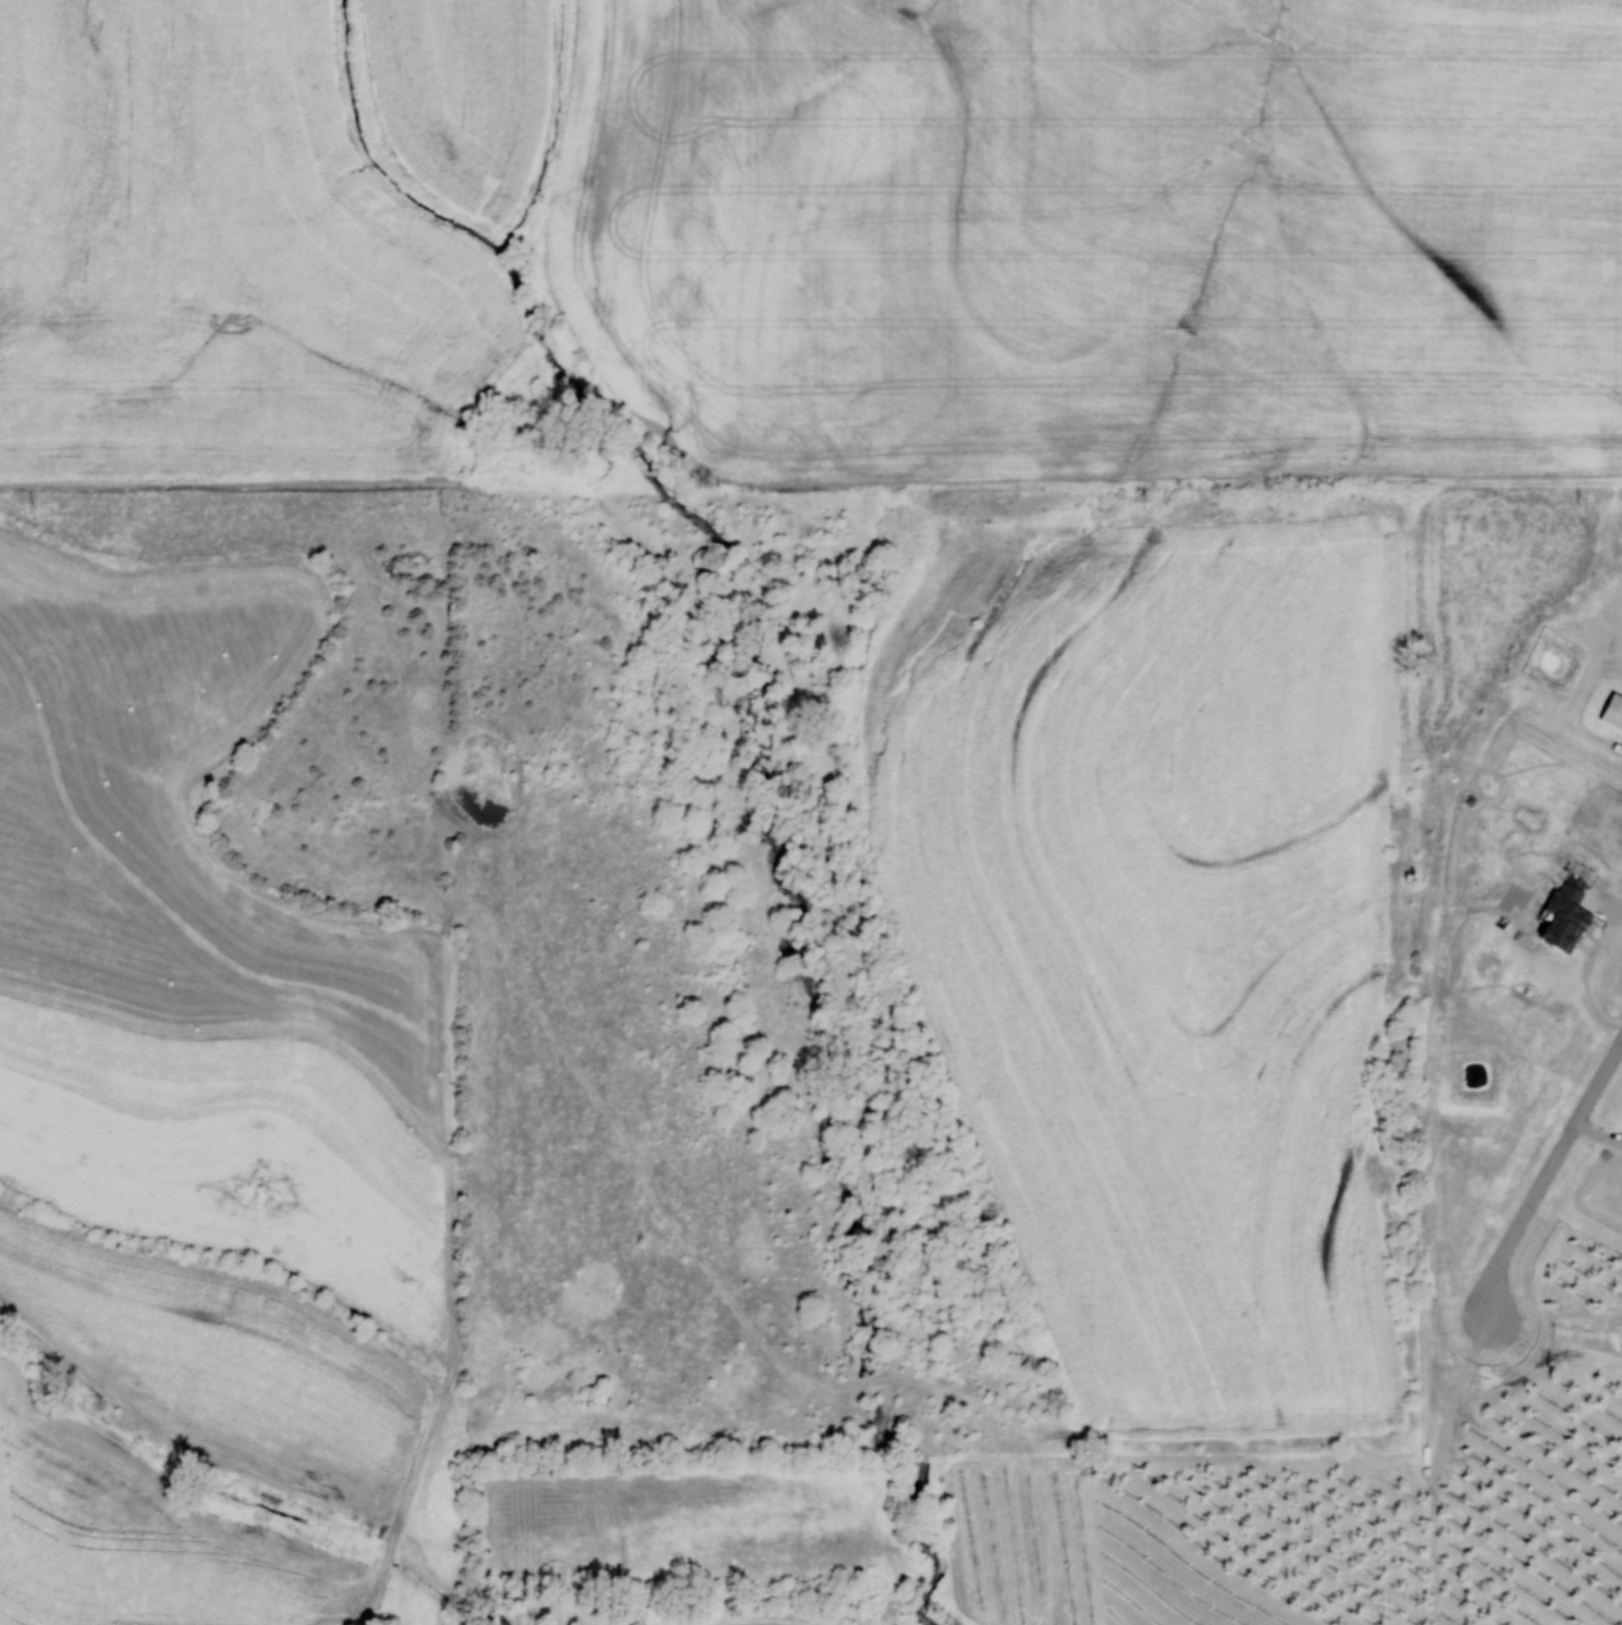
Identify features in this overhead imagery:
power tower: (1581, 504)
power tower: (1146, 506)
power tower: (442, 509)
power tower: (41, 513)
road: (1544, 1180)

